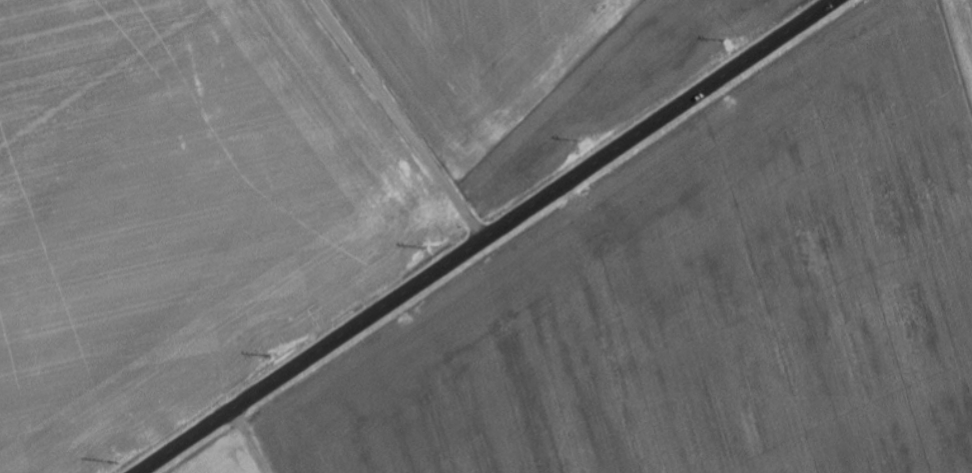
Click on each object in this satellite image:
road: (398, 120)
road: (487, 237)

